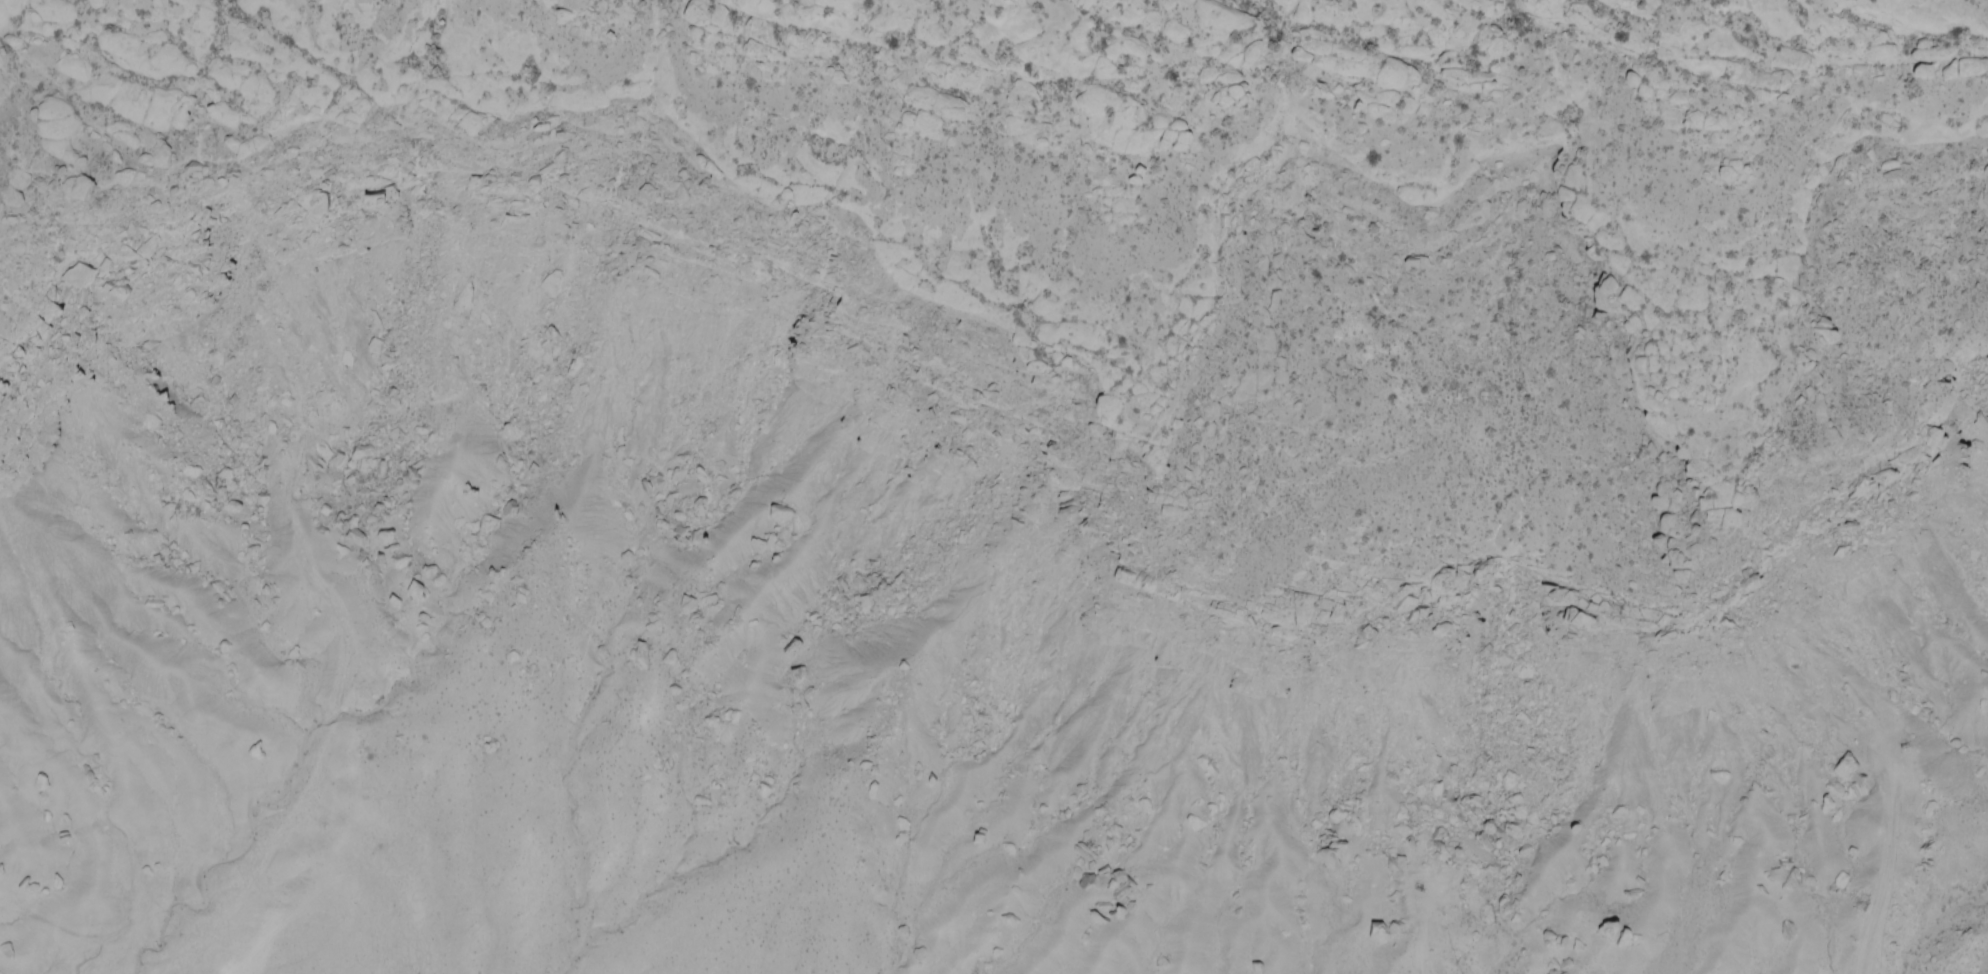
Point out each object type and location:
road: (1893, 910)

